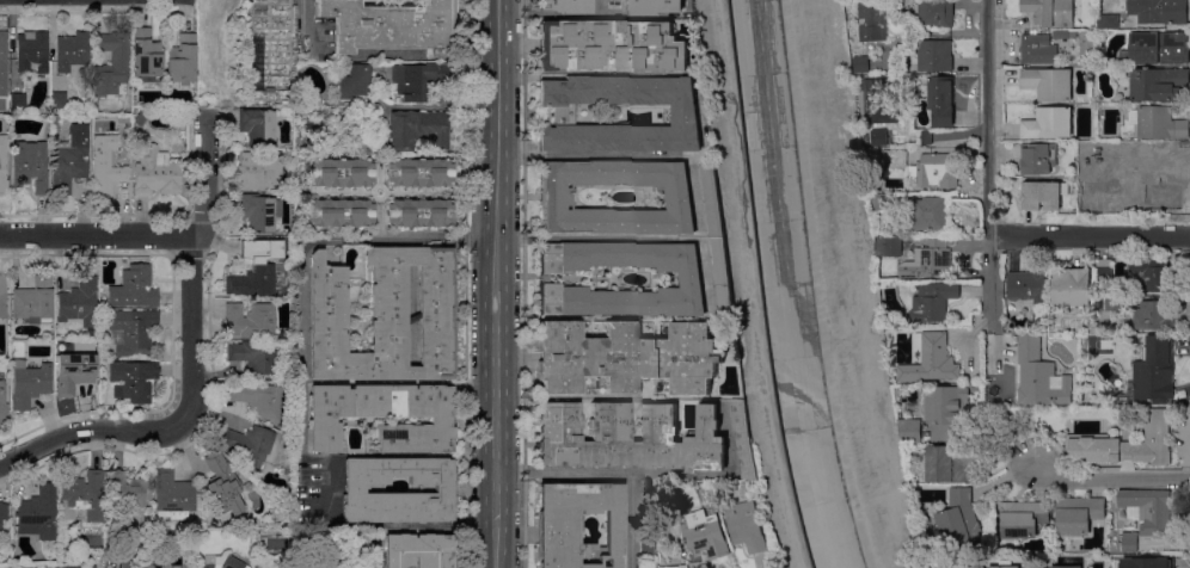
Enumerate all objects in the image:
building: (565, 6)
building: (658, 6)
building: (1050, 11)
building: (1159, 11)
road: (562, 13)
building: (936, 13)
building: (872, 19)
building: (1108, 20)
road: (307, 24)
building: (391, 26)
building: (1063, 33)
building: (612, 45)
building: (1157, 48)
building: (1037, 49)
building: (72, 50)
building: (31, 51)
building: (146, 54)
building: (934, 55)
building: (182, 61)
building: (111, 62)
building: (4, 63)
building: (861, 63)
building: (355, 80)
building: (412, 81)
building: (1049, 82)
building: (1158, 82)
building: (877, 99)
building: (941, 99)
building: (59, 100)
building: (18, 101)
building: (687, 115)
road: (987, 116)
building: (125, 118)
building: (142, 118)
building: (1159, 122)
building: (55, 123)
building: (1048, 123)
building: (258, 126)
building: (418, 130)
building: (879, 136)
building: (926, 136)
building: (867, 142)
building: (1114, 148)
road: (564, 156)
building: (1037, 158)
building: (70, 159)
building: (106, 163)
building: (2, 166)
building: (30, 166)
building: (924, 167)
building: (259, 171)
building: (157, 173)
building: (339, 173)
building: (419, 173)
road: (206, 178)
building: (1154, 179)
building: (1041, 195)
building: (554, 197)
building: (713, 199)
building: (884, 200)
building: (259, 212)
building: (339, 212)
building: (931, 212)
building: (419, 214)
road: (1088, 234)
road: (96, 236)
road: (595, 239)
road: (417, 240)
building: (889, 246)
building: (928, 260)
building: (258, 270)
road: (989, 271)
building: (1104, 271)
building: (723, 273)
building: (1151, 277)
building: (693, 279)
road: (495, 283)
road: (752, 285)
road: (820, 285)
building: (1026, 285)
building: (1072, 286)
building: (134, 289)
building: (903, 290)
road: (305, 294)
building: (2, 298)
building: (933, 301)
building: (1114, 301)
building: (35, 302)
building: (1105, 303)
building: (79, 305)
building: (1155, 315)
building: (385, 316)
building: (250, 320)
building: (133, 331)
building: (1133, 339)
building: (254, 356)
building: (625, 357)
building: (931, 358)
building: (74, 372)
building: (1036, 373)
building: (1152, 373)
building: (133, 379)
building: (29, 383)
building: (258, 399)
building: (2, 405)
building: (946, 409)
road: (303, 412)
building: (384, 415)
road: (178, 420)
building: (910, 430)
building: (707, 437)
building: (744, 439)
building: (1140, 443)
building: (252, 444)
building: (1093, 447)
building: (950, 462)
road: (608, 473)
road: (1112, 476)
building: (223, 483)
building: (128, 492)
building: (354, 492)
building: (85, 496)
building: (176, 496)
building: (1148, 508)
building: (4, 513)
building: (38, 513)
building: (1076, 513)
building: (1023, 517)
building: (958, 520)
building: (226, 523)
building: (217, 524)
building: (577, 524)
building: (747, 526)
building: (705, 536)
building: (1129, 541)
building: (358, 542)
building: (271, 544)
building: (649, 548)
building: (418, 551)
building: (125, 561)
building: (222, 561)
building: (1147, 563)
building: (42, 566)
building: (50, 566)
building: (5, 567)
building: (68, 567)
building: (165, 567)
building: (671, 567)
building: (1007, 567)
building: (1066, 567)

